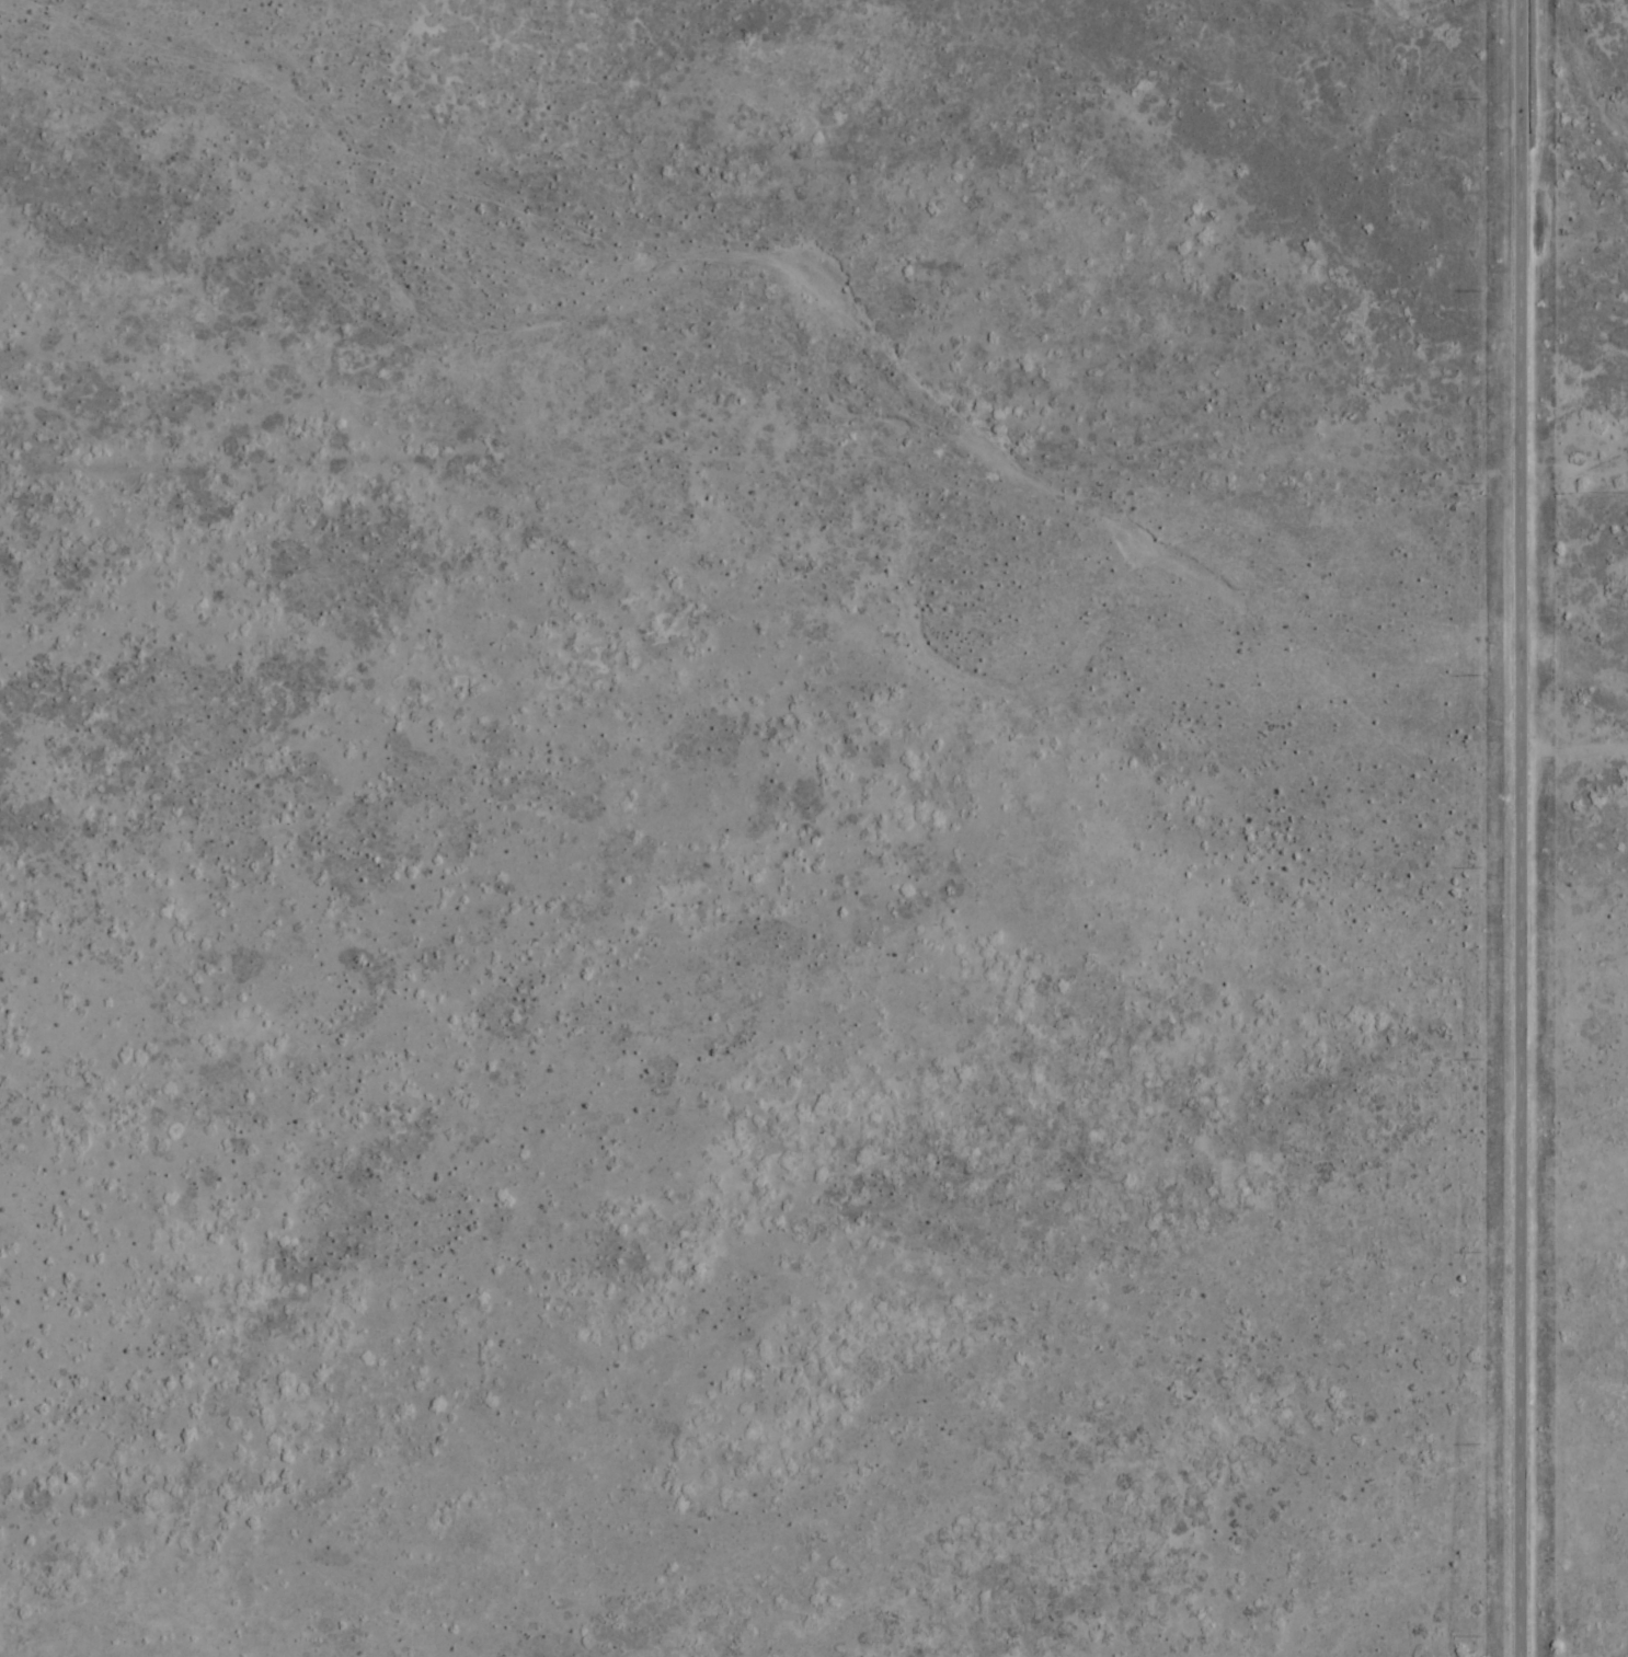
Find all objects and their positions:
road: (1544, 828)

